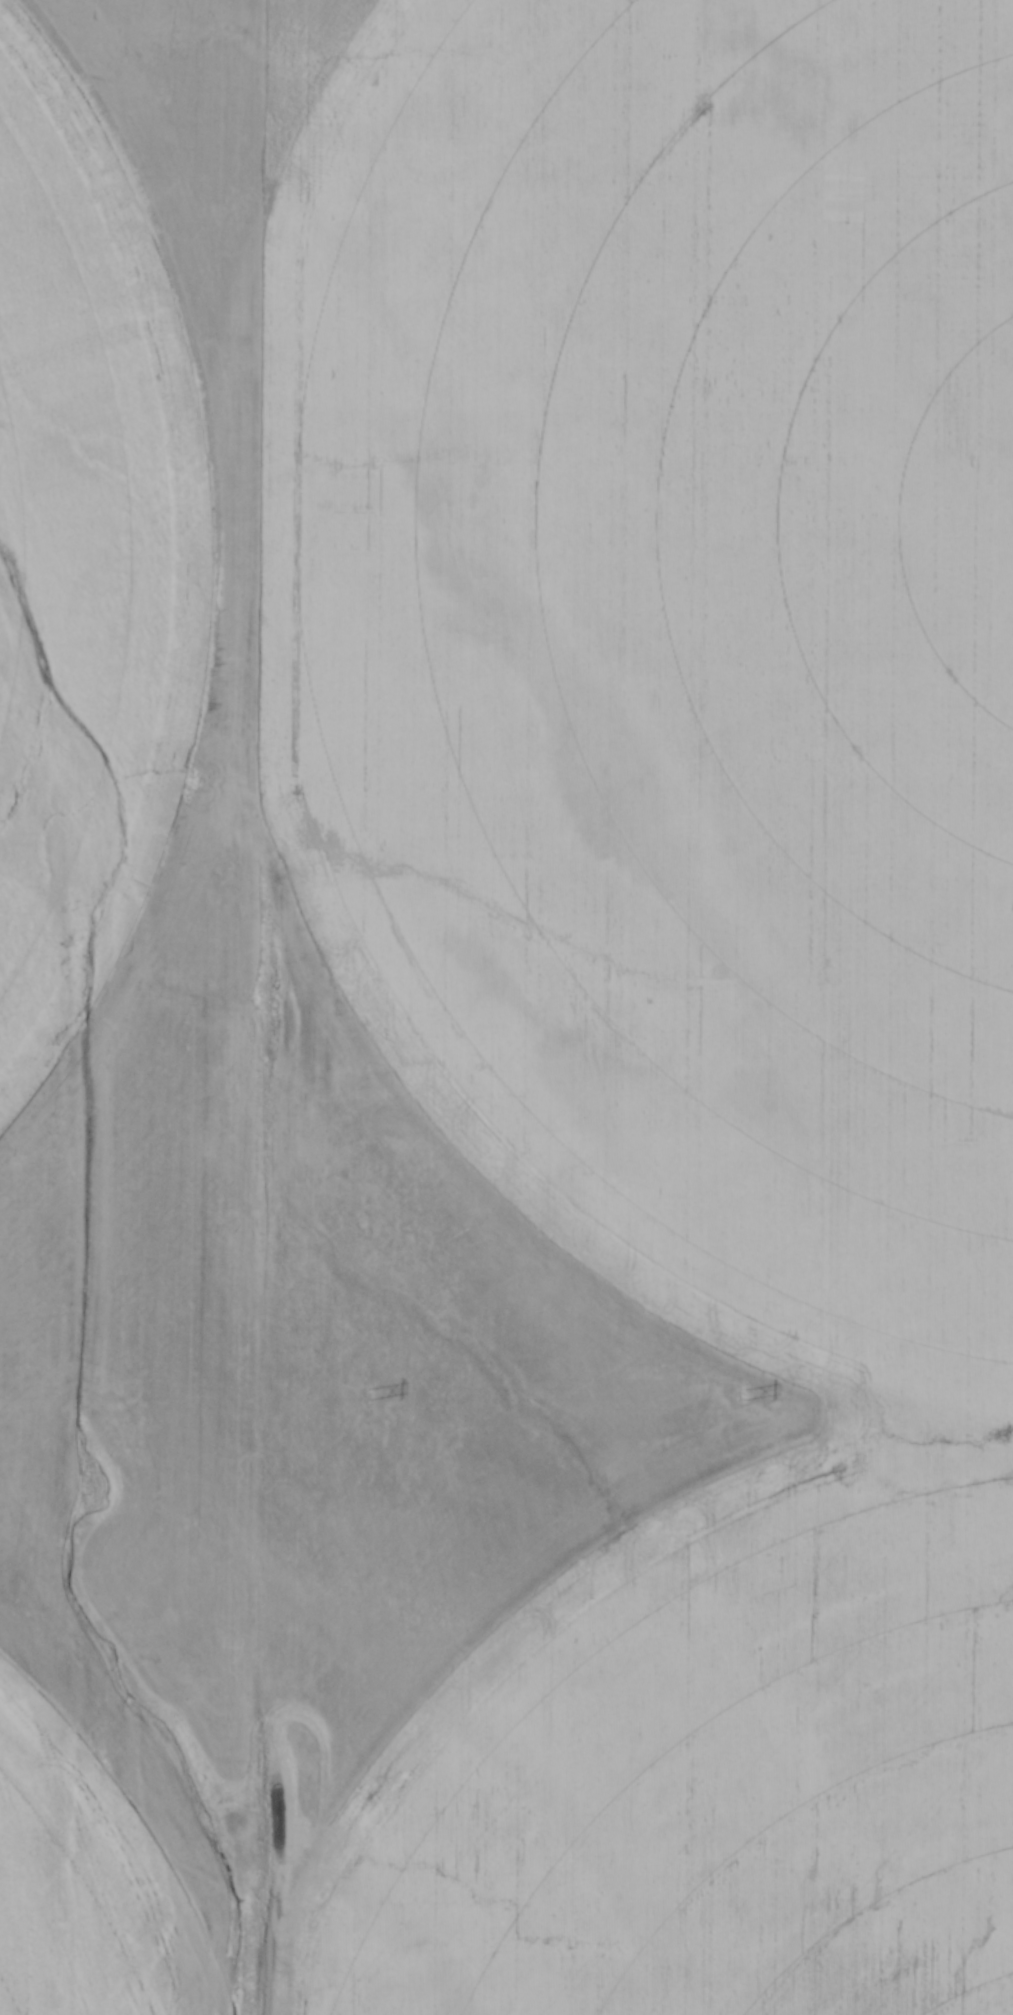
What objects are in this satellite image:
power tower: (370, 1392)
power tower: (741, 1397)

